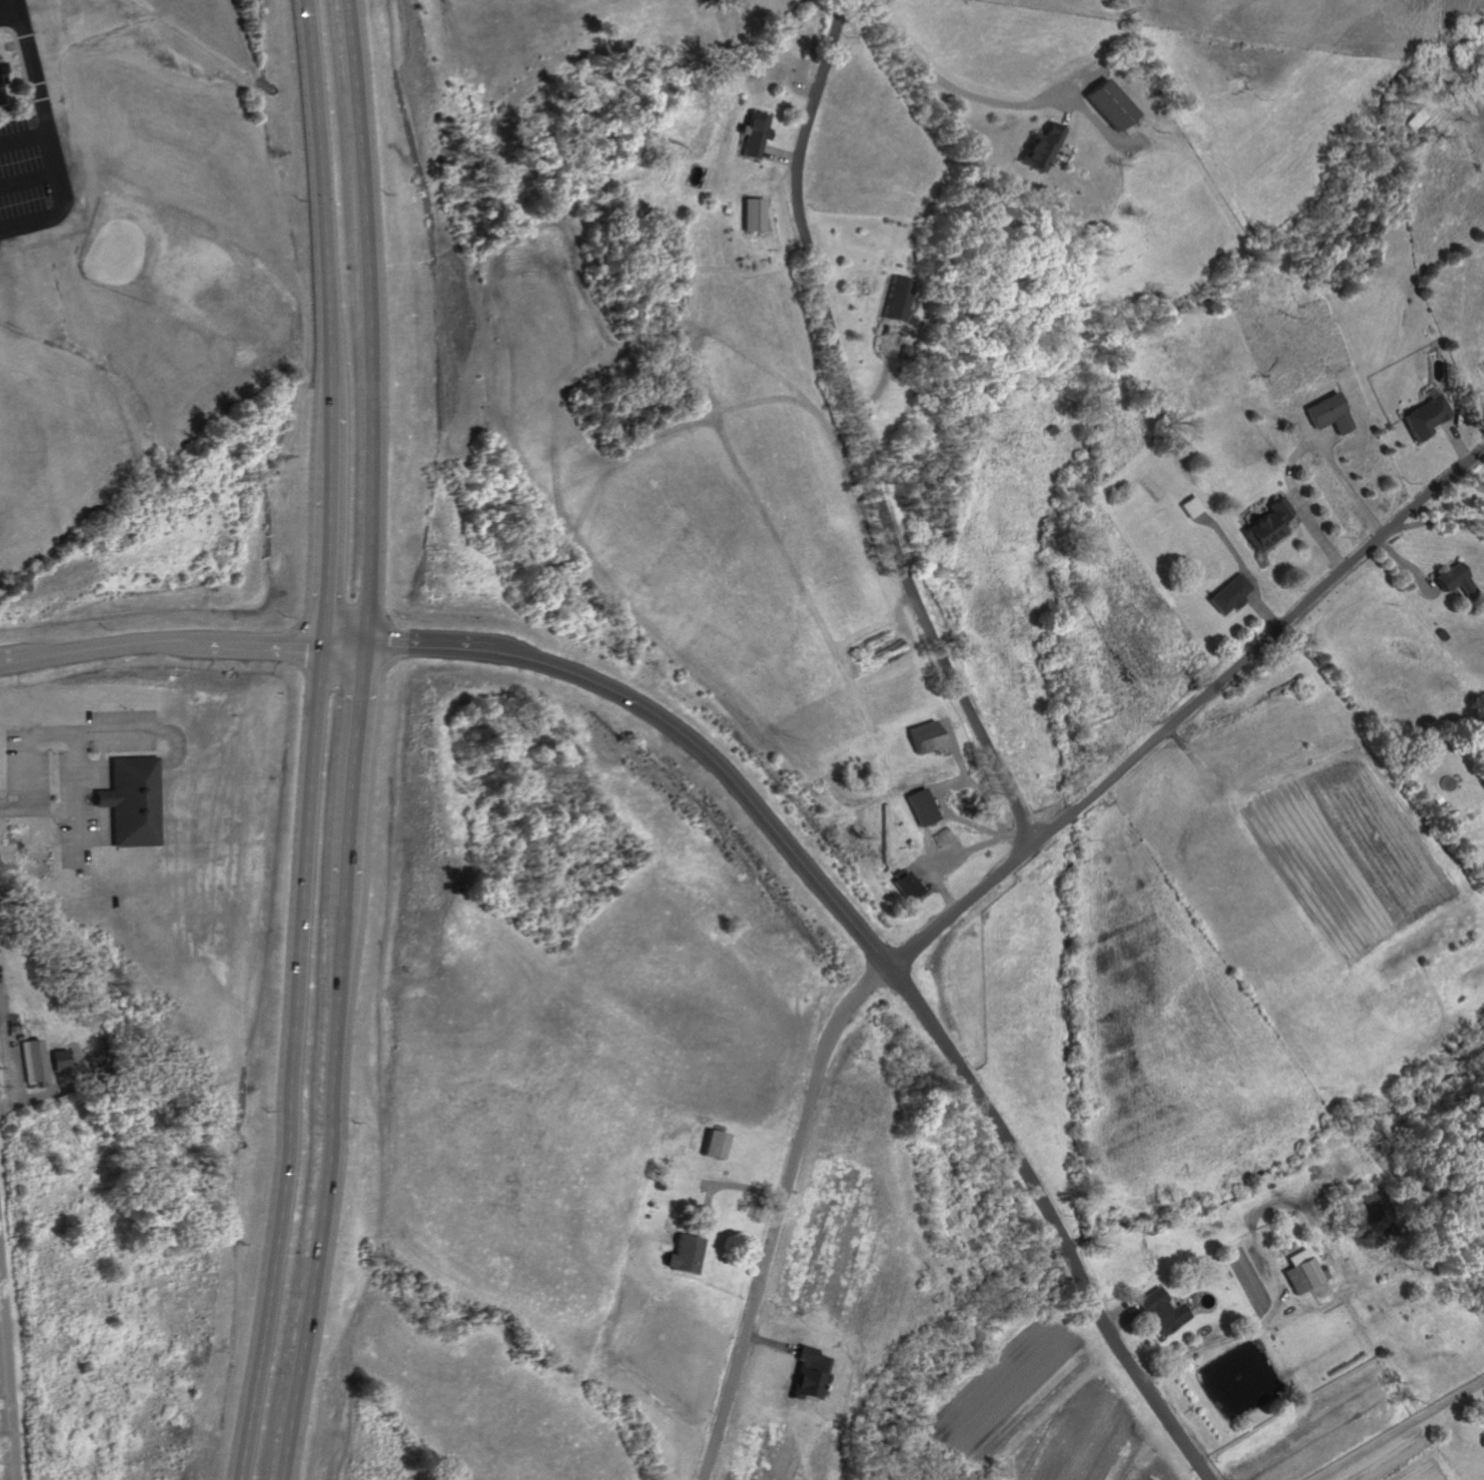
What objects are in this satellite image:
road: (36, 66)
building: (1, 77)
road: (805, 81)
road: (976, 93)
building: (0, 98)
building: (1114, 103)
building: (0, 104)
road: (1067, 111)
road: (1102, 124)
building: (756, 133)
road: (26, 138)
building: (1045, 147)
road: (780, 155)
road: (31, 179)
road: (328, 192)
road: (63, 202)
building: (753, 213)
park: (171, 221)
building: (899, 295)
road: (376, 321)
road: (888, 370)
building: (1334, 412)
building: (1432, 413)
road: (342, 426)
road: (863, 430)
road: (1326, 437)
road: (1462, 437)
road: (1298, 451)
road: (1298, 502)
building: (1194, 505)
road: (1440, 520)
building: (1272, 523)
road: (1235, 550)
road: (342, 557)
road: (1411, 567)
building: (1460, 578)
building: (1234, 593)
road: (1265, 608)
road: (274, 645)
road: (361, 645)
road: (449, 646)
road: (121, 648)
road: (18, 664)
road: (85, 736)
building: (927, 736)
road: (730, 773)
road: (373, 774)
road: (973, 781)
building: (144, 798)
building: (926, 807)
road: (18, 809)
road: (947, 813)
road: (933, 845)
road: (964, 855)
crop: (1351, 855)
road: (930, 865)
building: (911, 884)
road: (978, 890)
building: (22, 1034)
building: (69, 1061)
building: (39, 1062)
road: (306, 1064)
road: (16, 1070)
building: (717, 1145)
road: (723, 1183)
road: (326, 1192)
road: (1051, 1221)
building: (687, 1255)
building: (1305, 1272)
building: (1162, 1310)
road: (1121, 1314)
road: (1, 1329)
road: (1220, 1341)
road: (7, 1388)
crop: (1001, 1391)
road: (1400, 1429)
crop: (1083, 1440)
crop: (1405, 1460)
crop: (1149, 1476)

